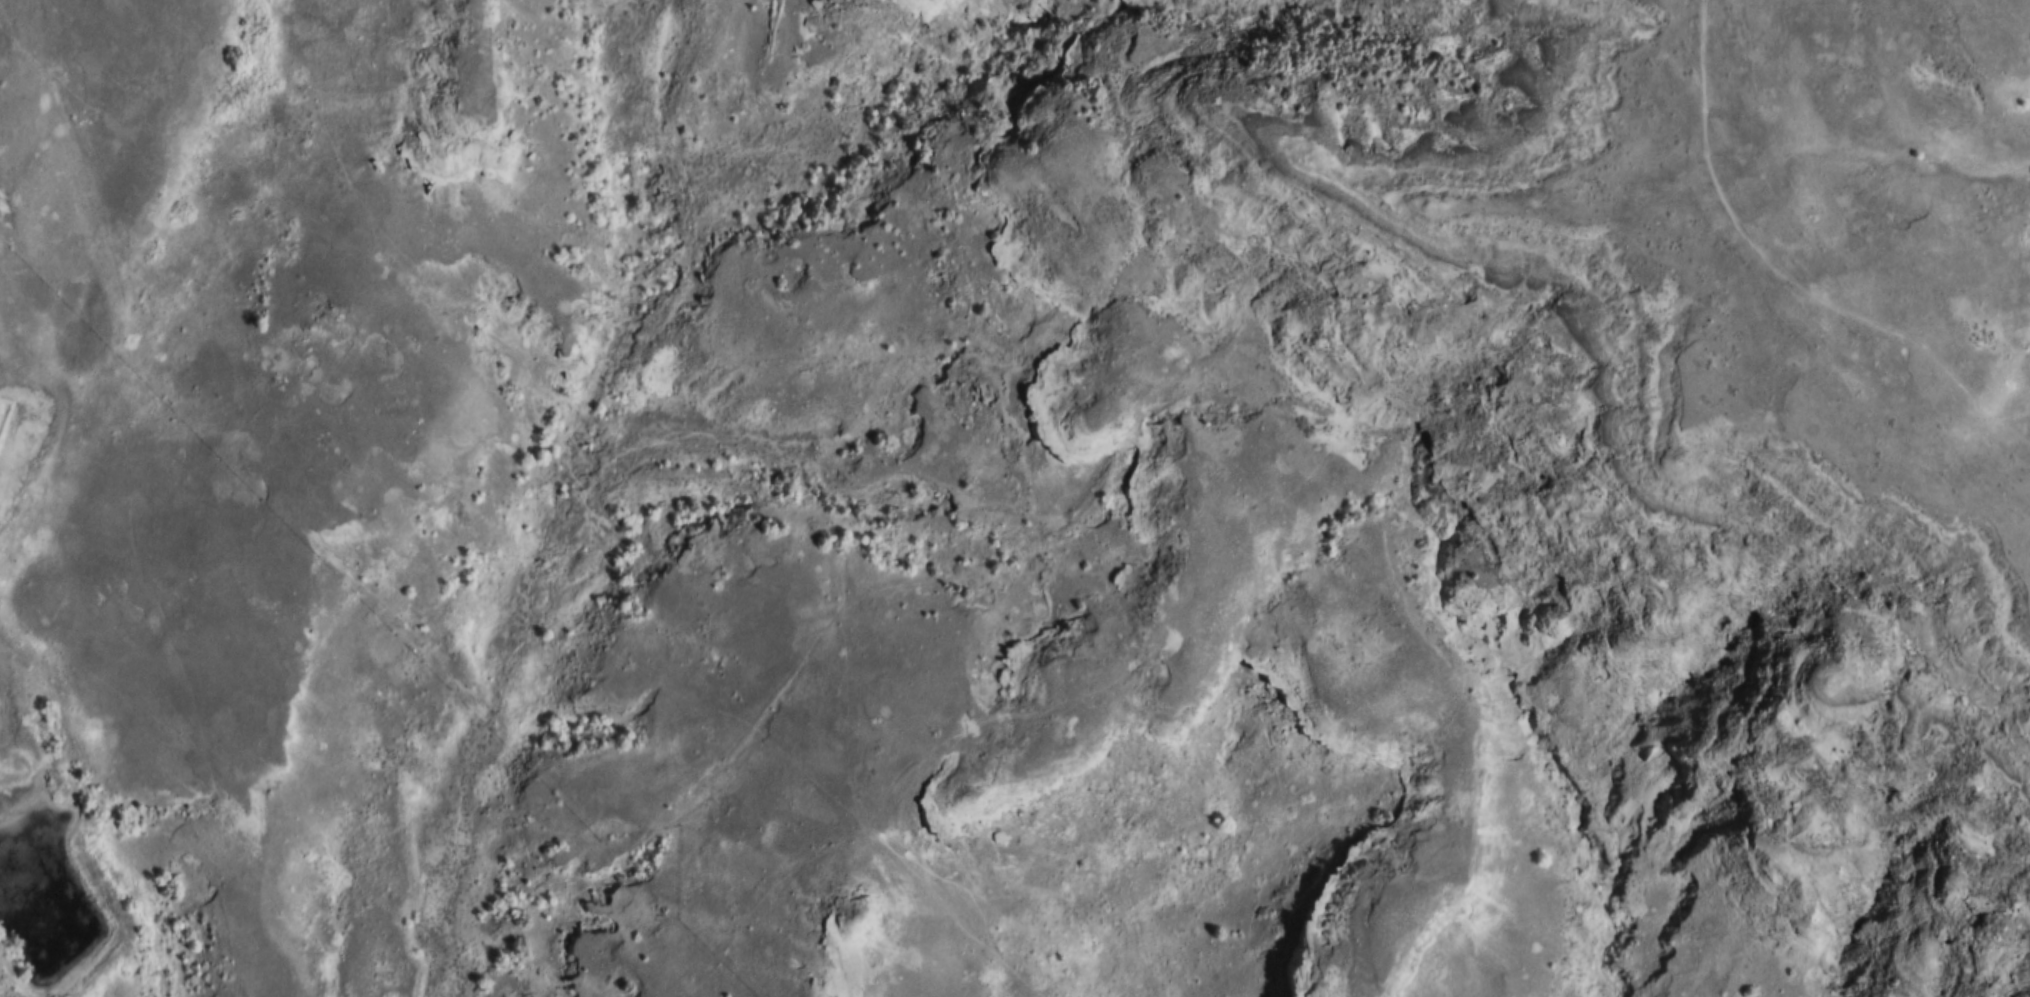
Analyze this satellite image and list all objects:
road: (1785, 267)

